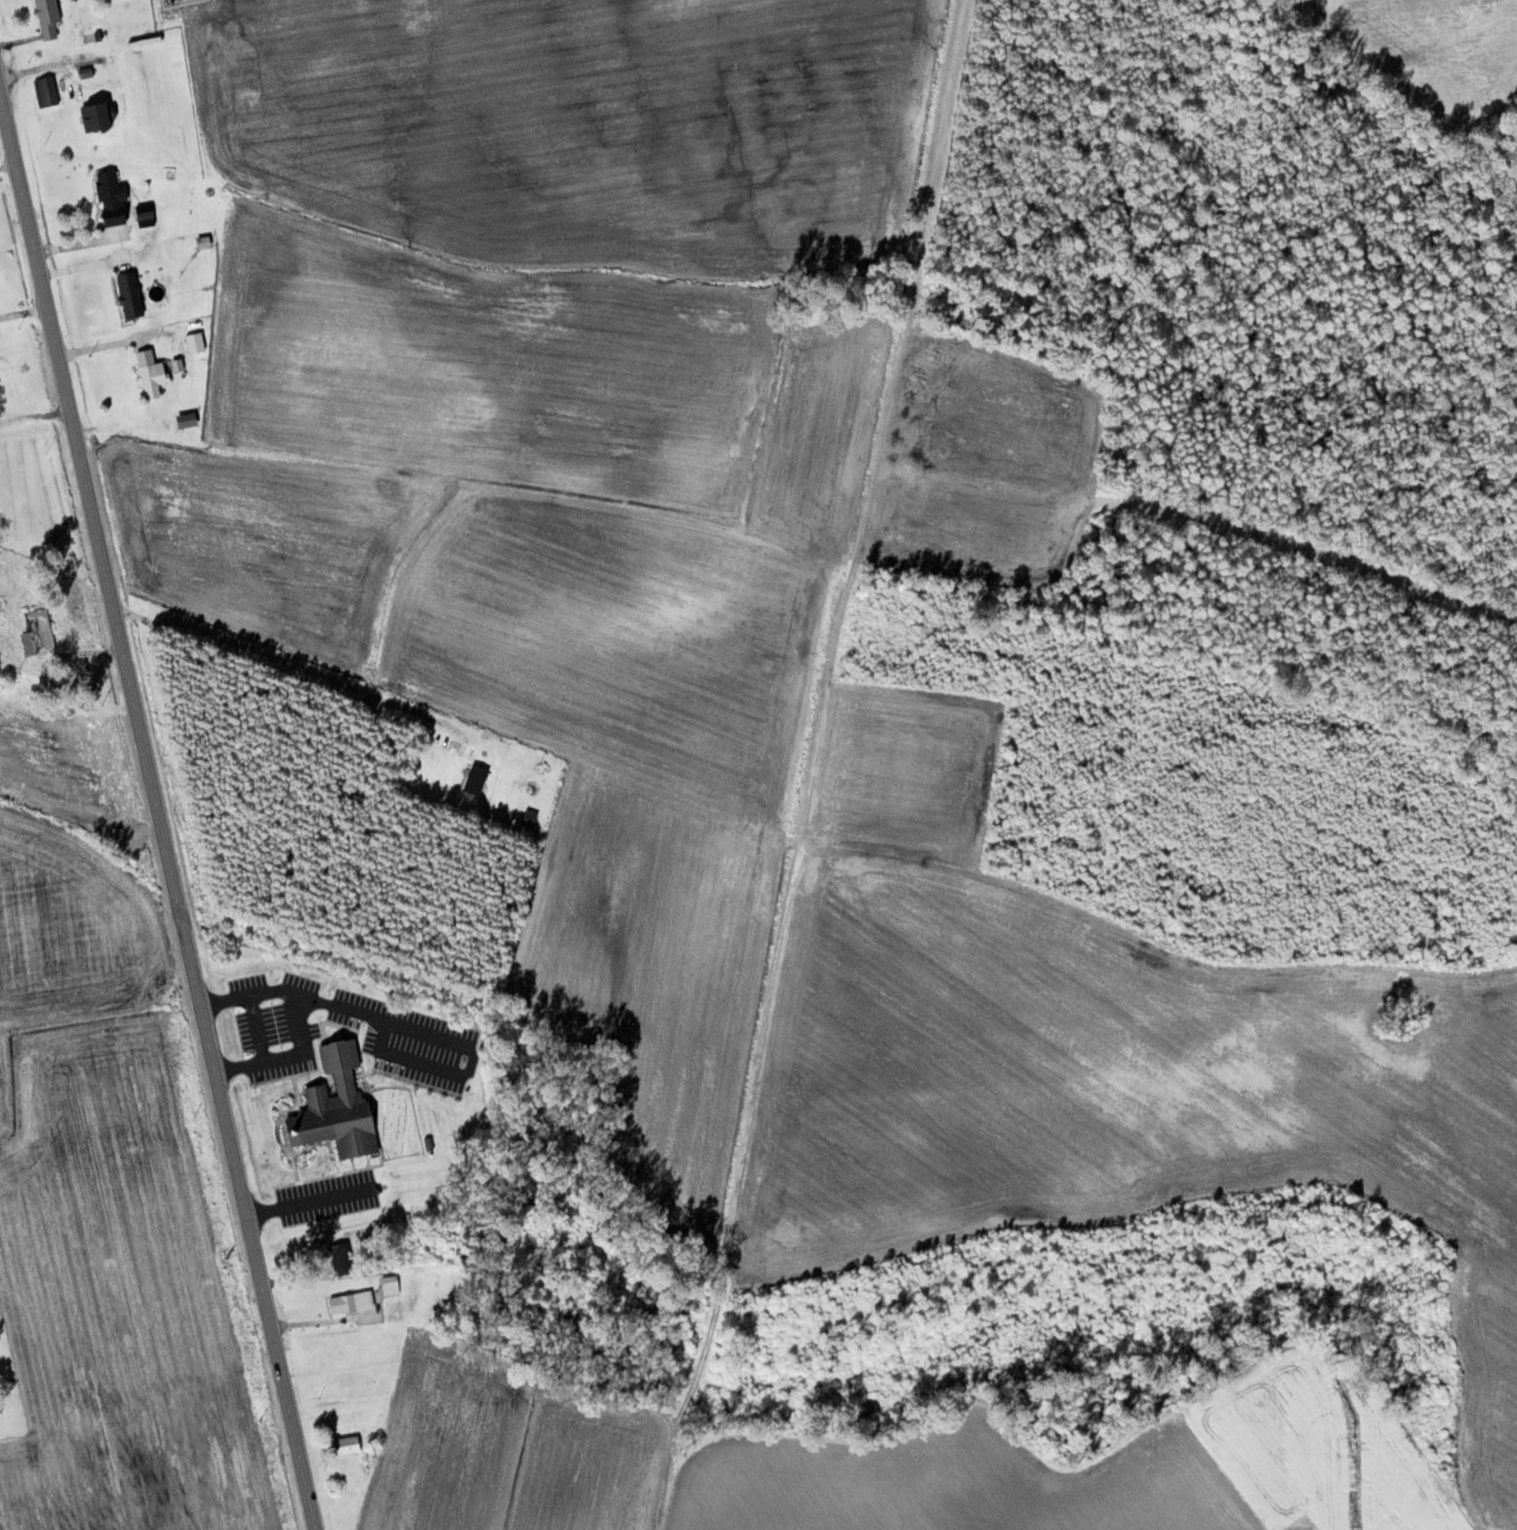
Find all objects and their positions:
building: (49, 17)
building: (47, 89)
building: (99, 115)
building: (113, 196)
building: (145, 210)
building: (132, 293)
building: (154, 373)
building: (39, 631)
building: (5, 651)
building: (477, 778)
road: (160, 794)
building: (530, 817)
building: (337, 1104)
building: (391, 1283)
building: (353, 1301)
building: (348, 1444)

